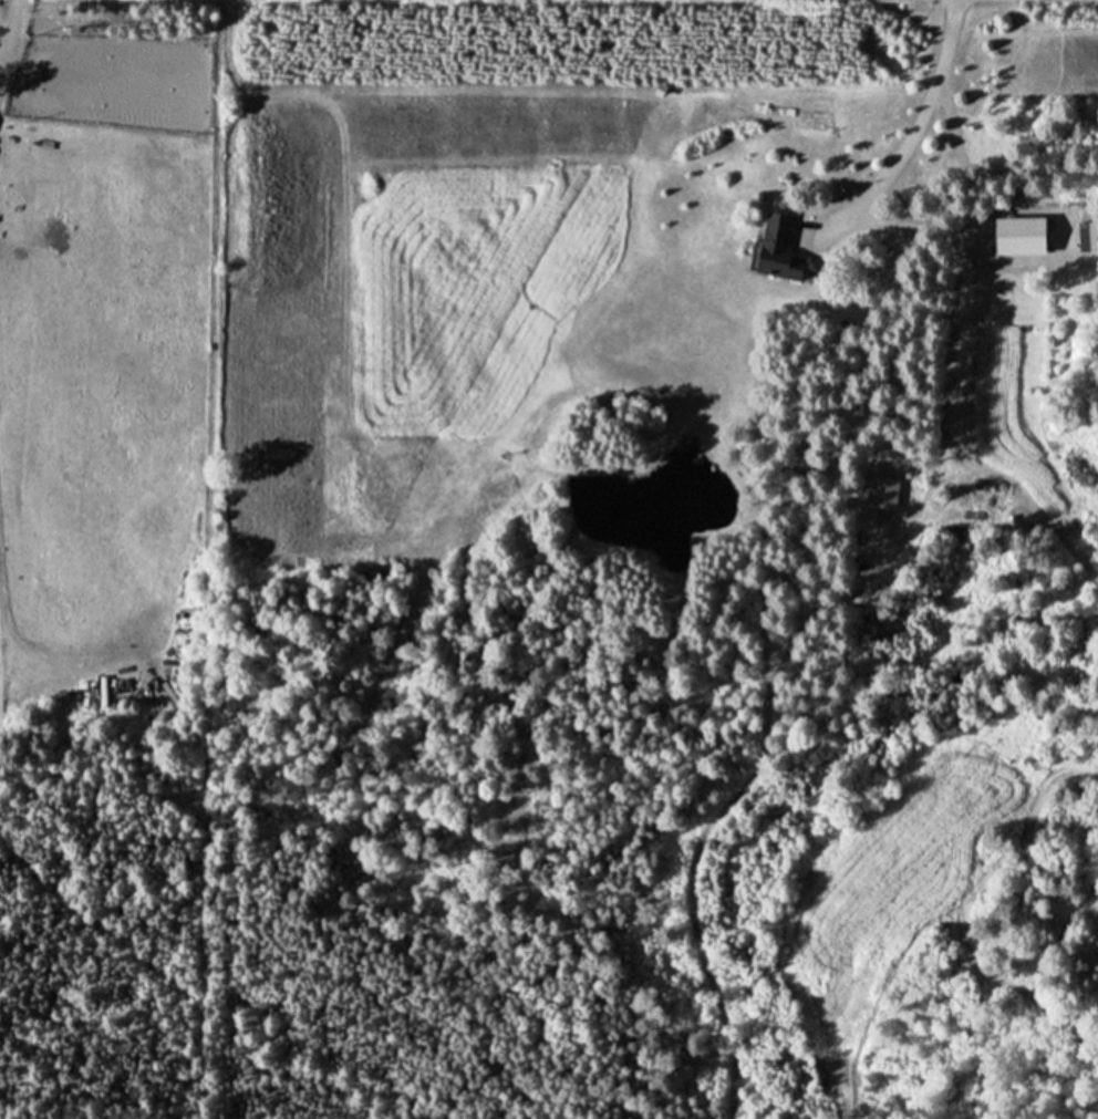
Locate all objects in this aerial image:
road: (9, 29)
road: (918, 124)
building: (1086, 236)
building: (774, 248)

